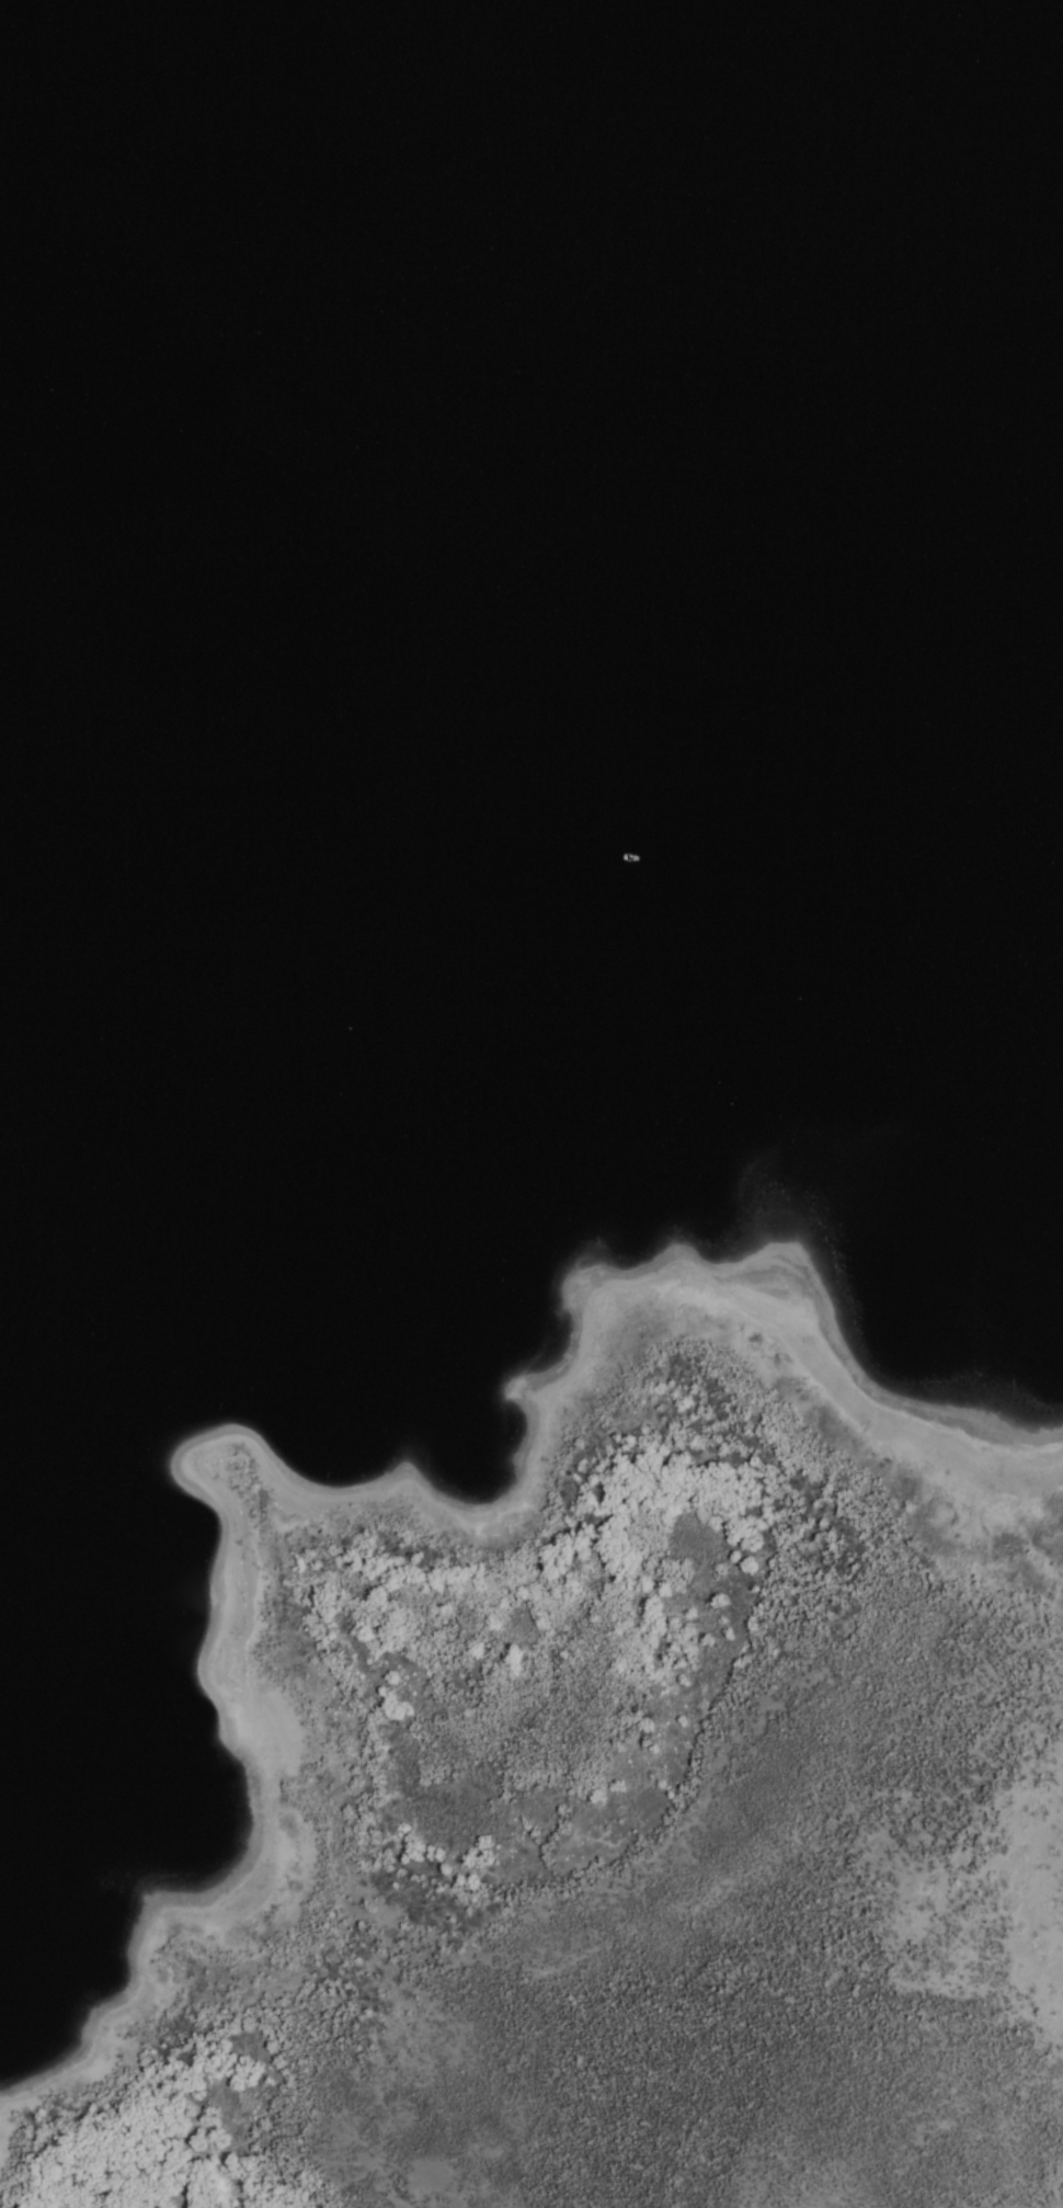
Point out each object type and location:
river: (531, 414)

